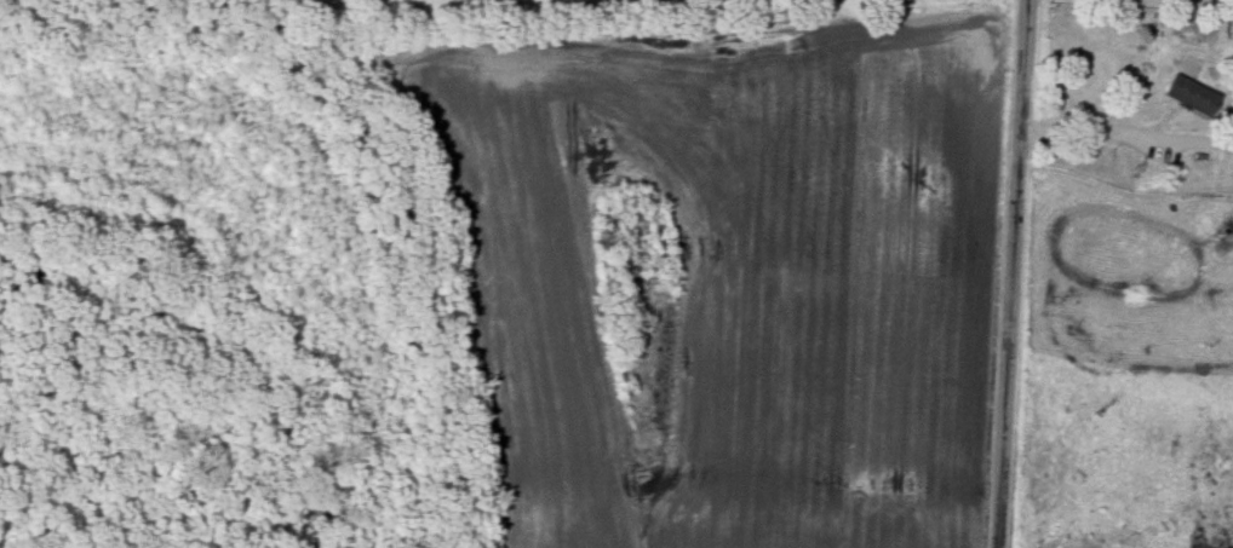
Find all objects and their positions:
building: (1186, 96)
road: (1091, 131)
road: (1014, 273)

